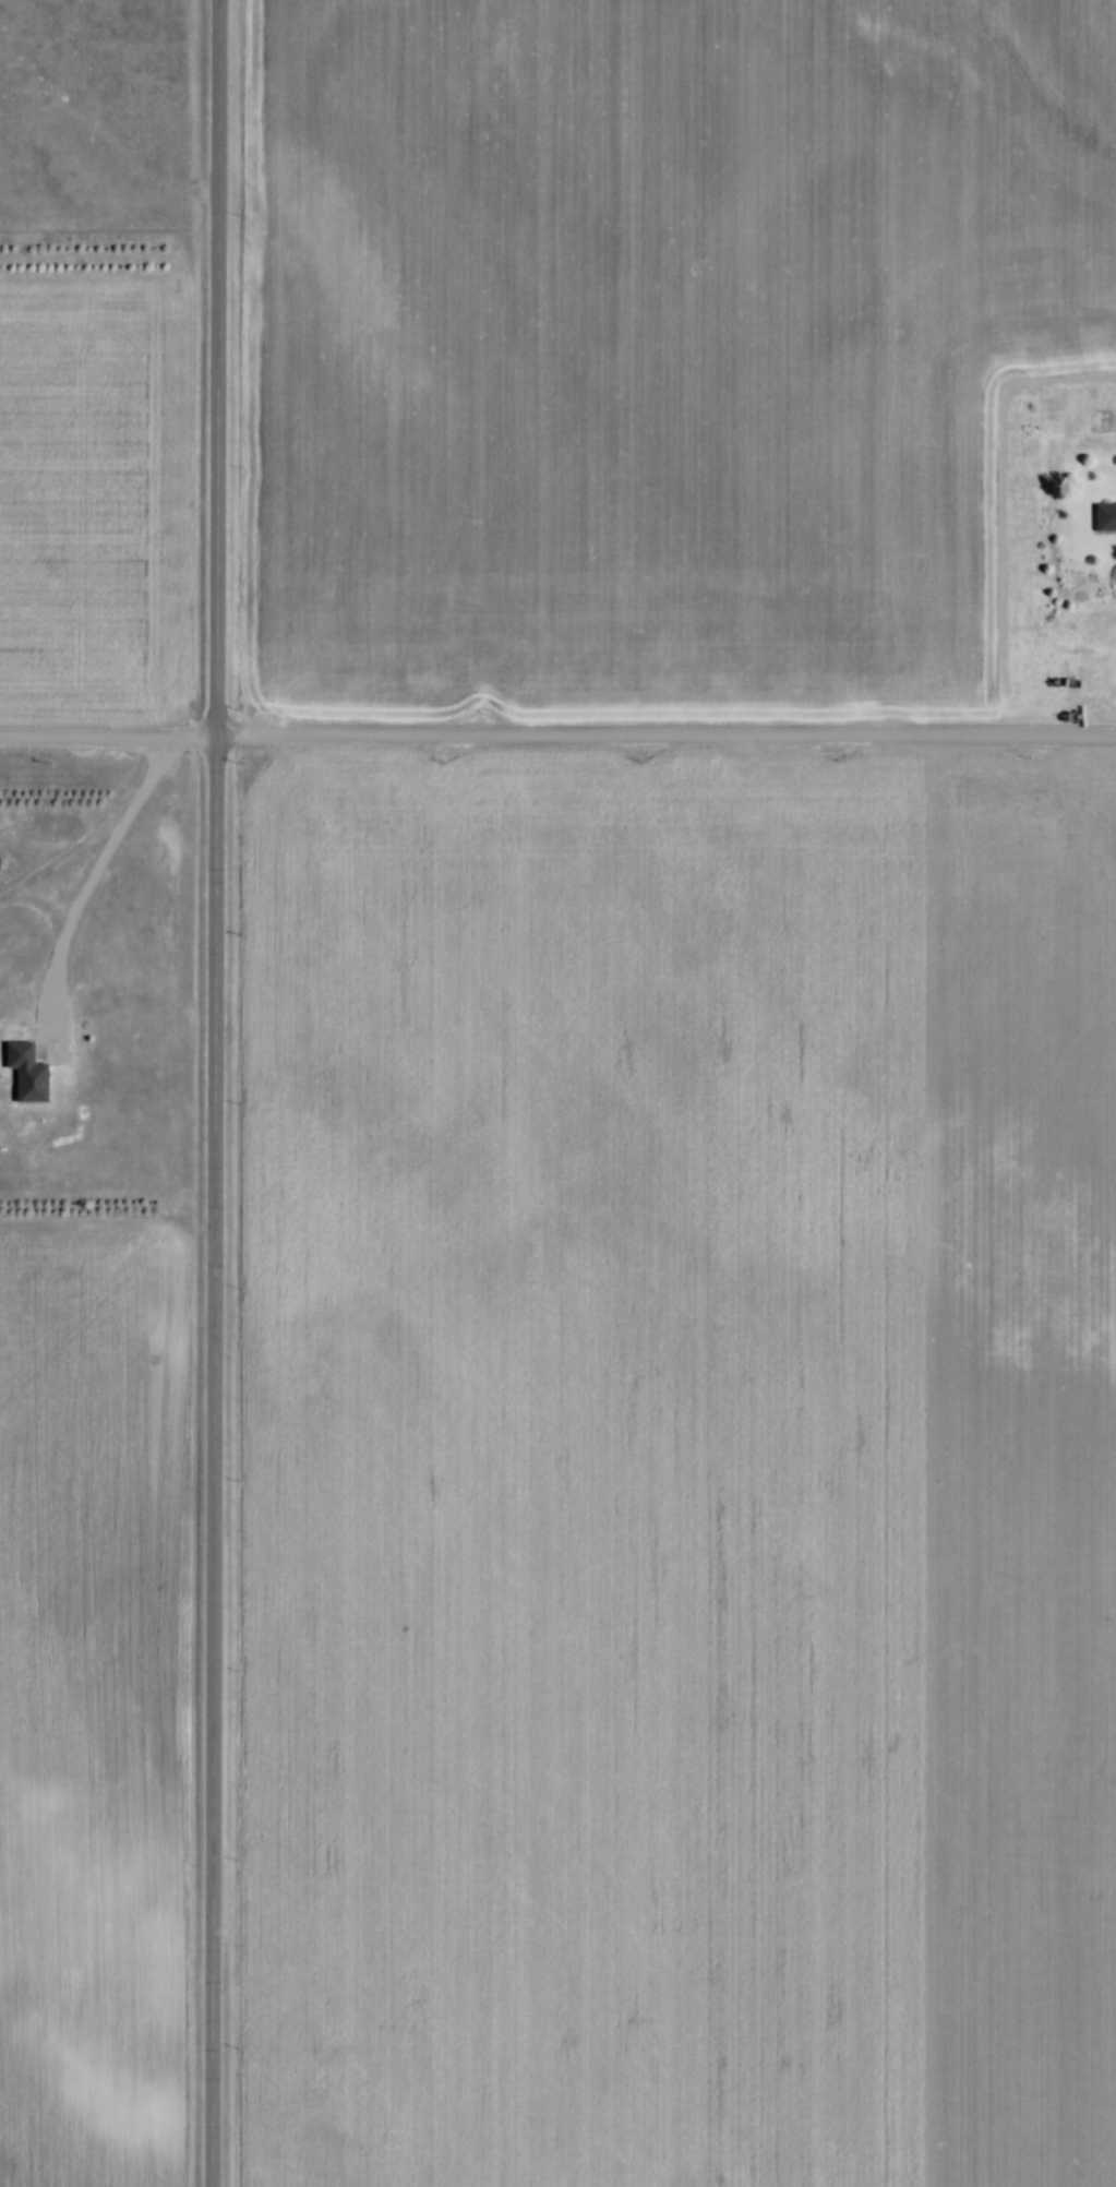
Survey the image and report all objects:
crop: (647, 346)
crop: (87, 499)
building: (1103, 517)
road: (557, 736)
road: (68, 850)
road: (95, 868)
road: (40, 901)
building: (70, 1063)
building: (22, 1073)
road: (215, 1093)
crop: (674, 1471)
crop: (87, 1705)

